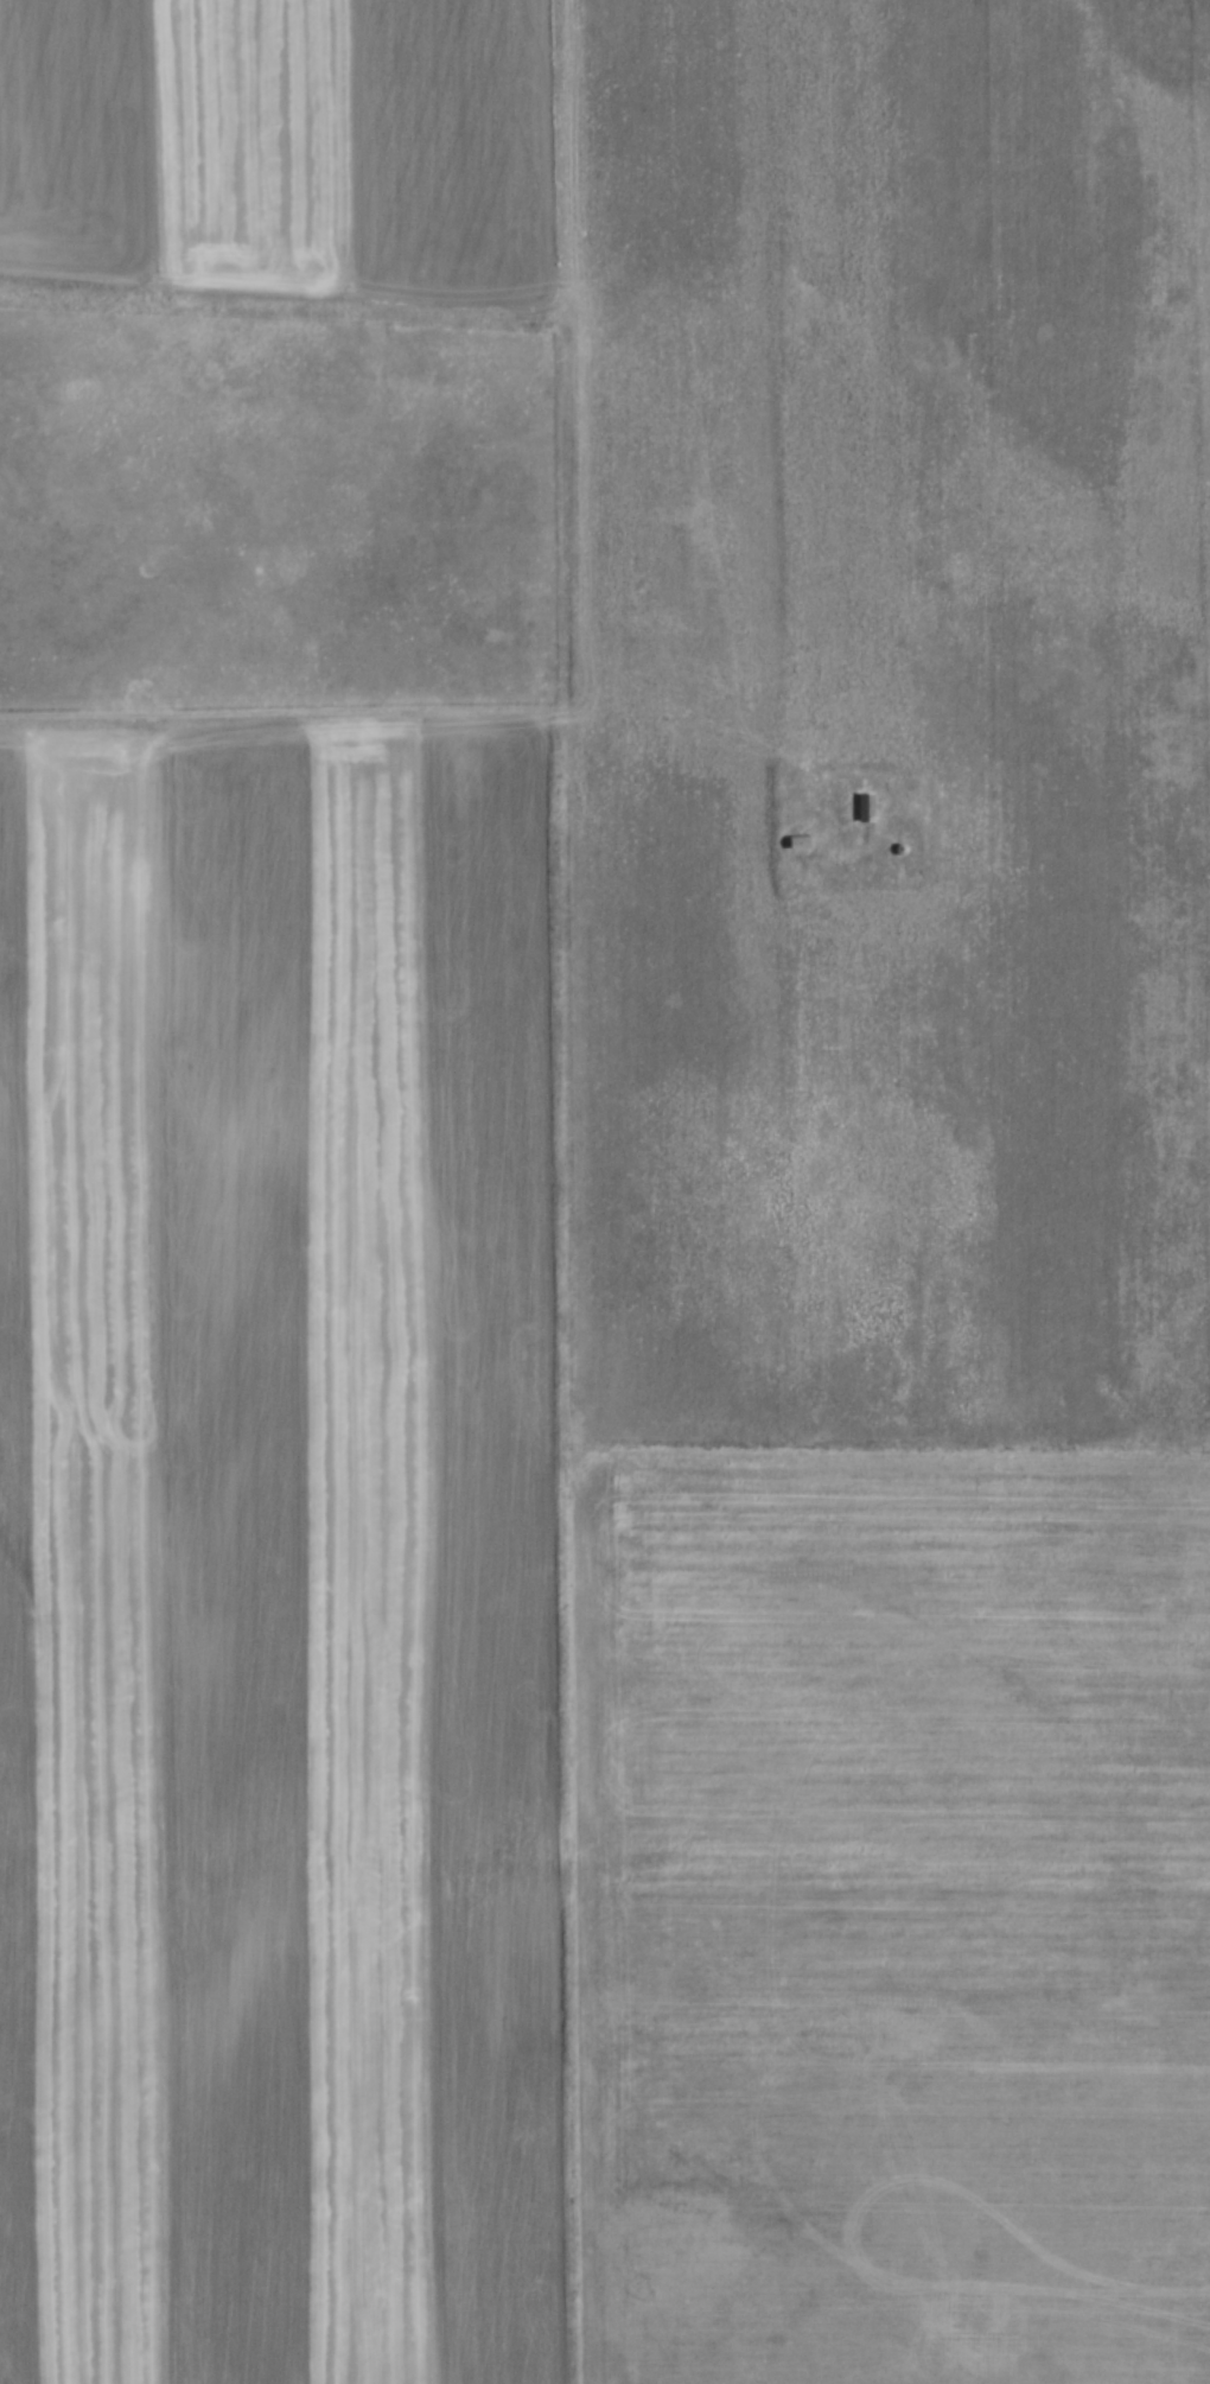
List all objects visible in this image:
building: (865, 807)
building: (798, 838)

